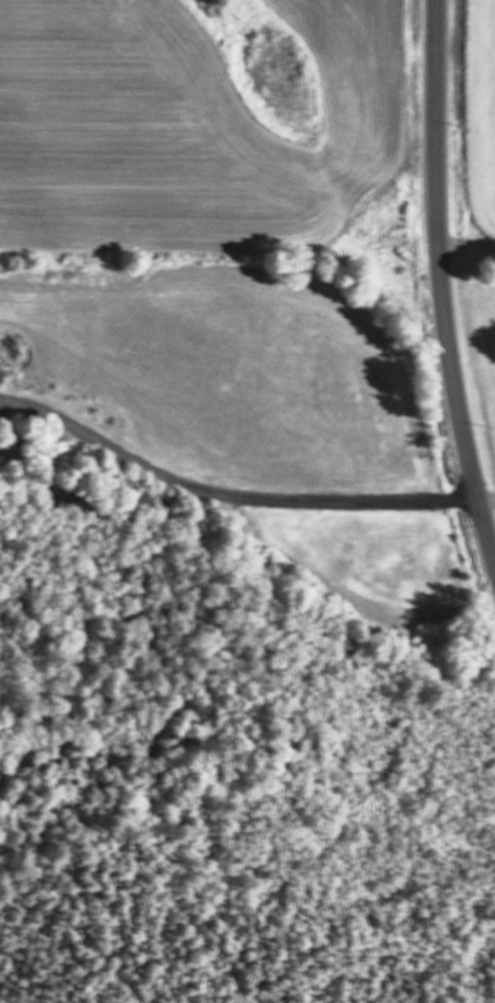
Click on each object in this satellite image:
road: (442, 280)

